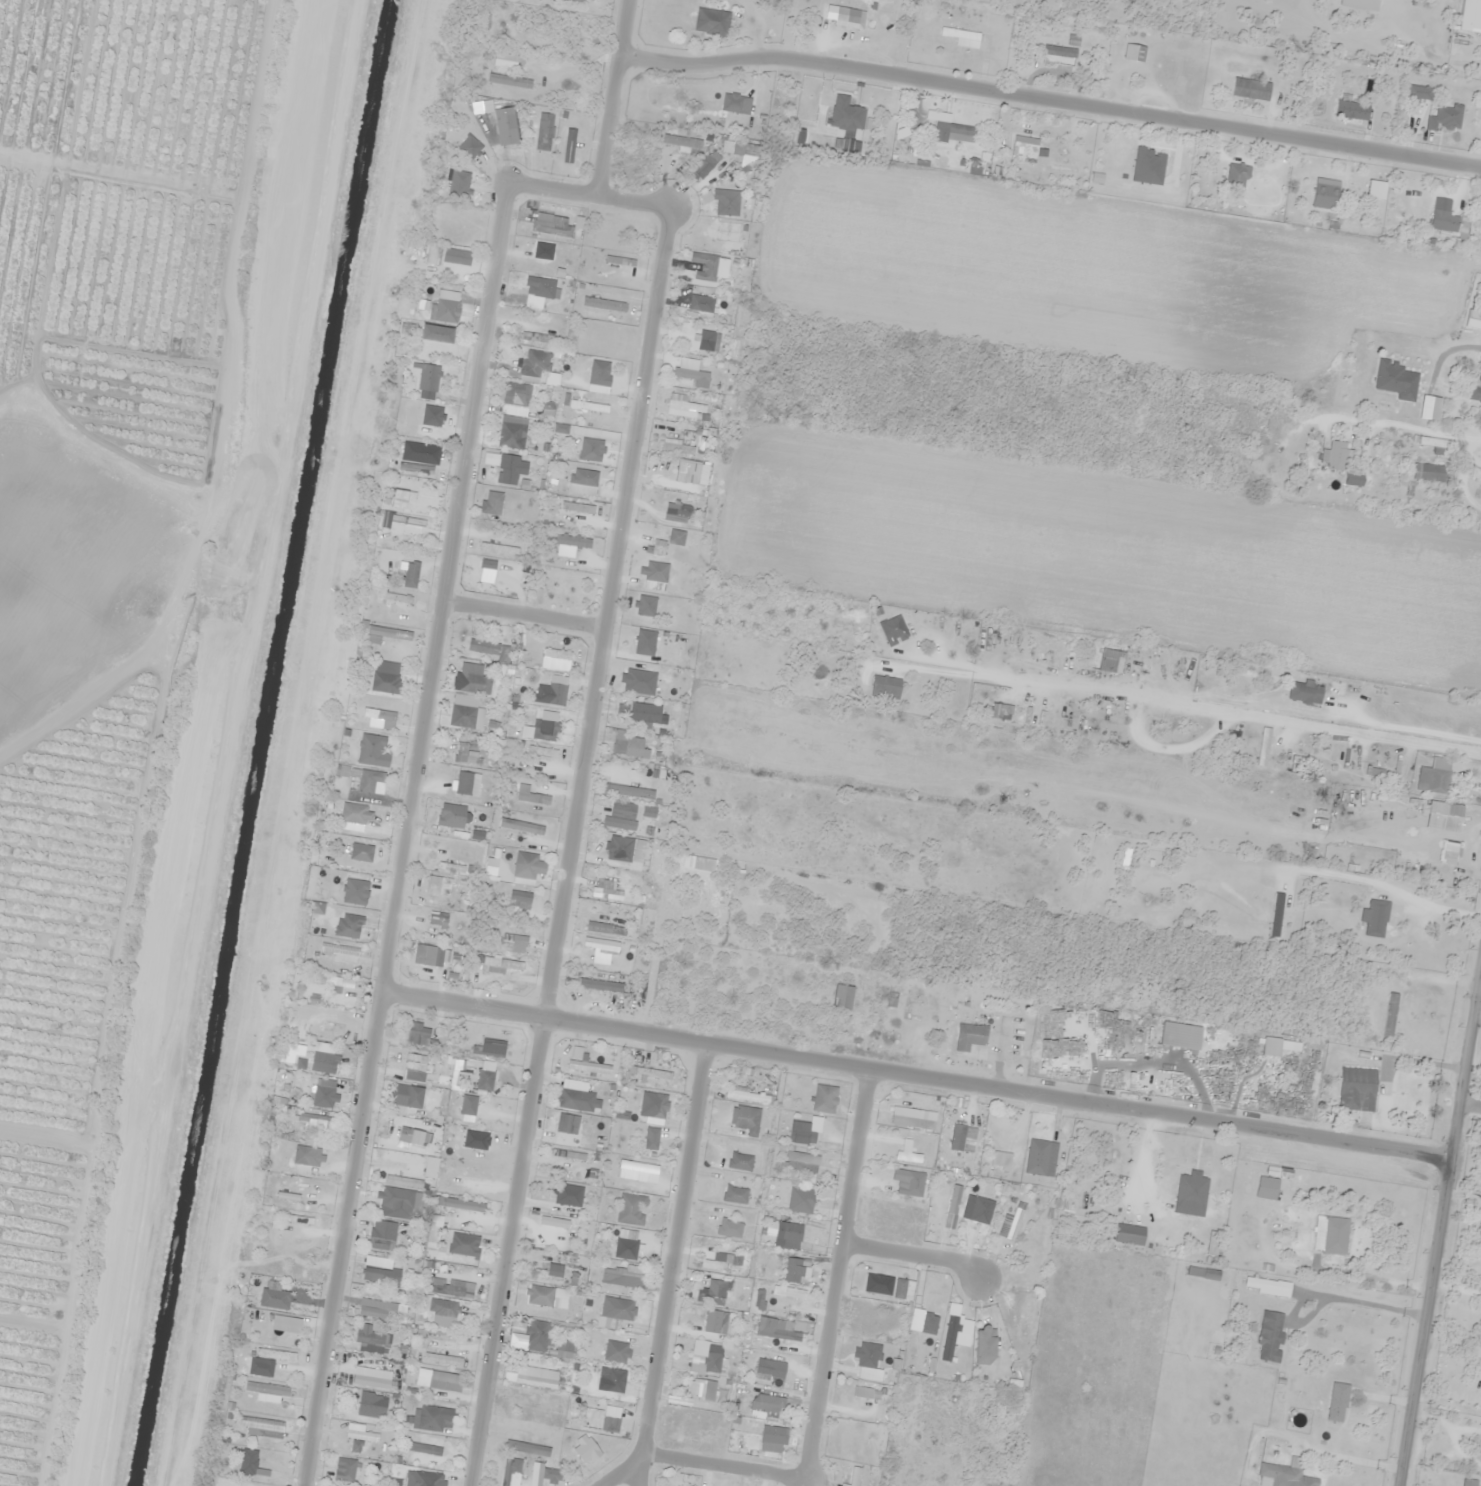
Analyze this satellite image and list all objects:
building: (575, 0)
building: (538, 1)
building: (1472, 4)
building: (853, 16)
building: (712, 22)
building: (960, 35)
building: (1061, 51)
building: (510, 81)
building: (1251, 89)
building: (1414, 92)
road: (612, 97)
road: (1049, 97)
building: (1352, 110)
building: (847, 114)
building: (1445, 117)
building: (950, 125)
building: (545, 131)
building: (513, 133)
building: (478, 141)
building: (570, 146)
building: (1025, 150)
building: (707, 164)
building: (1124, 168)
building: (1238, 176)
road: (589, 193)
building: (1326, 194)
building: (728, 207)
building: (1447, 222)
building: (554, 227)
building: (457, 257)
building: (547, 268)
building: (696, 302)
building: (539, 303)
building: (447, 310)
building: (534, 337)
building: (698, 341)
building: (434, 345)
building: (536, 363)
building: (600, 369)
building: (691, 374)
building: (429, 378)
building: (1398, 380)
building: (1475, 391)
building: (593, 404)
building: (687, 406)
building: (513, 417)
building: (679, 447)
building: (1337, 455)
building: (508, 467)
building: (1429, 472)
building: (492, 502)
building: (410, 503)
building: (682, 509)
building: (403, 522)
building: (659, 548)
building: (499, 549)
building: (656, 571)
building: (411, 574)
building: (557, 586)
road: (523, 614)
building: (894, 630)
building: (645, 642)
building: (490, 650)
building: (550, 650)
building: (1058, 658)
building: (1112, 661)
building: (386, 683)
building: (475, 683)
building: (886, 687)
building: (1235, 688)
building: (1307, 692)
road: (1186, 705)
building: (464, 711)
building: (639, 711)
building: (380, 714)
building: (546, 730)
building: (626, 749)
building: (371, 753)
building: (468, 756)
building: (346, 771)
building: (370, 780)
building: (1433, 780)
building: (465, 782)
building: (631, 791)
building: (454, 816)
building: (620, 823)
building: (357, 824)
building: (522, 827)
road: (405, 834)
road: (570, 845)
building: (362, 852)
building: (526, 865)
building: (441, 886)
building: (361, 889)
building: (607, 894)
building: (522, 899)
building: (1276, 914)
building: (439, 918)
building: (1377, 918)
building: (350, 925)
building: (515, 940)
building: (601, 944)
building: (343, 952)
building: (425, 954)
building: (343, 985)
building: (844, 996)
building: (924, 1010)
road: (1478, 1010)
building: (1390, 1014)
building: (419, 1034)
building: (970, 1036)
building: (290, 1052)
building: (416, 1060)
building: (586, 1063)
building: (325, 1069)
road: (917, 1074)
building: (485, 1079)
building: (1358, 1089)
building: (324, 1093)
building: (747, 1096)
building: (569, 1098)
road: (1471, 1100)
building: (406, 1105)
building: (659, 1105)
building: (913, 1116)
building: (747, 1118)
building: (477, 1120)
building: (317, 1121)
building: (568, 1124)
building: (1006, 1126)
building: (800, 1132)
building: (412, 1135)
building: (652, 1143)
building: (474, 1154)
building: (304, 1155)
building: (569, 1155)
building: (741, 1161)
building: (802, 1161)
building: (639, 1166)
building: (405, 1174)
building: (892, 1177)
building: (1268, 1187)
building: (305, 1190)
building: (735, 1194)
building: (939, 1197)
building: (801, 1199)
building: (399, 1203)
building: (630, 1207)
building: (564, 1209)
building: (985, 1218)
building: (298, 1219)
building: (1015, 1224)
building: (728, 1229)
building: (793, 1231)
road: (1441, 1231)
building: (1146, 1232)
building: (1331, 1234)
building: (1042, 1238)
building: (379, 1243)
building: (464, 1244)
road: (914, 1252)
road: (671, 1263)
building: (721, 1264)
building: (380, 1271)
building: (551, 1272)
building: (1204, 1273)
building: (623, 1276)
building: (1268, 1285)
building: (448, 1287)
building: (900, 1288)
building: (286, 1290)
building: (781, 1293)
building: (716, 1295)
building: (547, 1296)
building: (444, 1307)
building: (376, 1309)
building: (623, 1309)
building: (1027, 1318)
building: (541, 1332)
building: (779, 1332)
building: (1271, 1336)
building: (371, 1341)
building: (991, 1342)
building: (566, 1345)
building: (441, 1350)
building: (616, 1351)
building: (276, 1355)
building: (713, 1361)
building: (764, 1369)
building: (604, 1374)
road: (823, 1375)
building: (437, 1378)
building: (534, 1378)
building: (704, 1389)
building: (270, 1392)
building: (863, 1392)
building: (372, 1401)
building: (1338, 1402)
building: (764, 1410)
building: (433, 1418)
building: (265, 1426)
building: (697, 1428)
building: (774, 1434)
building: (356, 1447)
building: (526, 1448)
building: (426, 1449)
building: (260, 1458)
building: (345, 1469)
building: (507, 1473)
building: (543, 1473)
building: (1298, 1474)
building: (856, 1476)
building: (428, 1479)
building: (1470, 1482)
building: (238, 1484)

